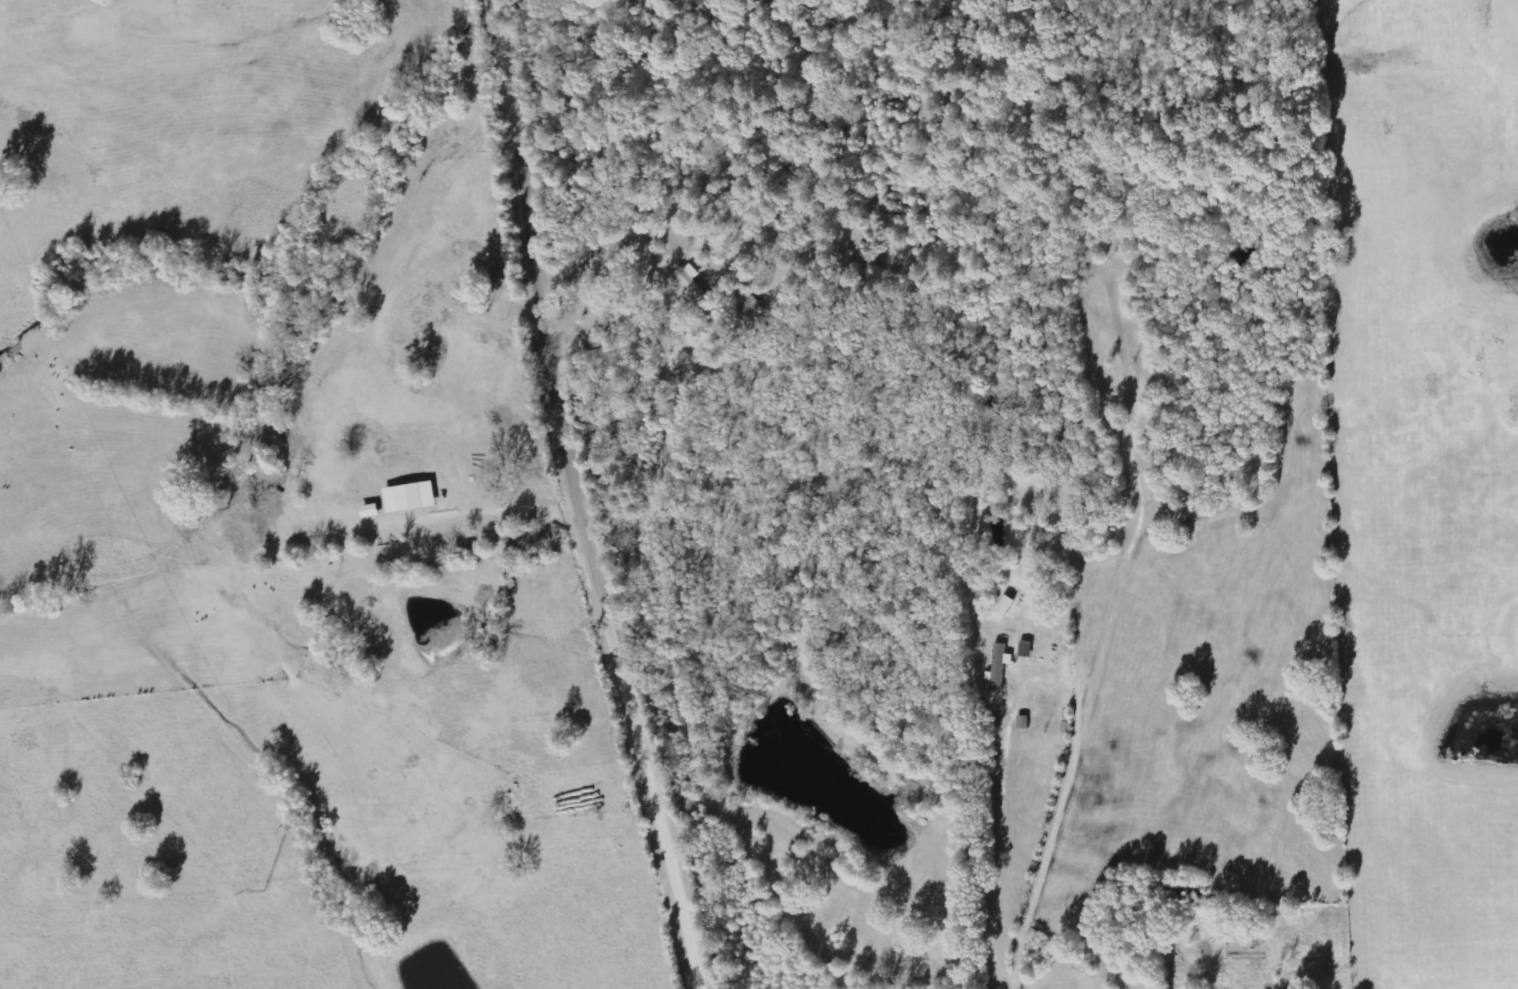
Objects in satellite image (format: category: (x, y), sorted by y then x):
building: (691, 281)
building: (411, 496)
road: (582, 499)
building: (371, 510)
power tower: (259, 888)

